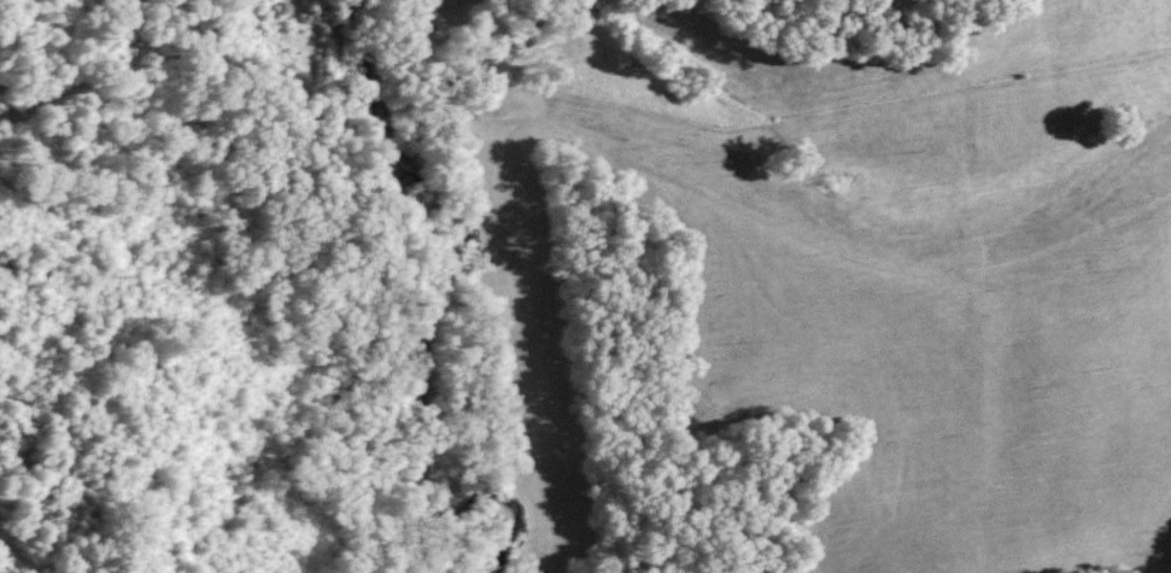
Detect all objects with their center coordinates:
building: (124, 43)

